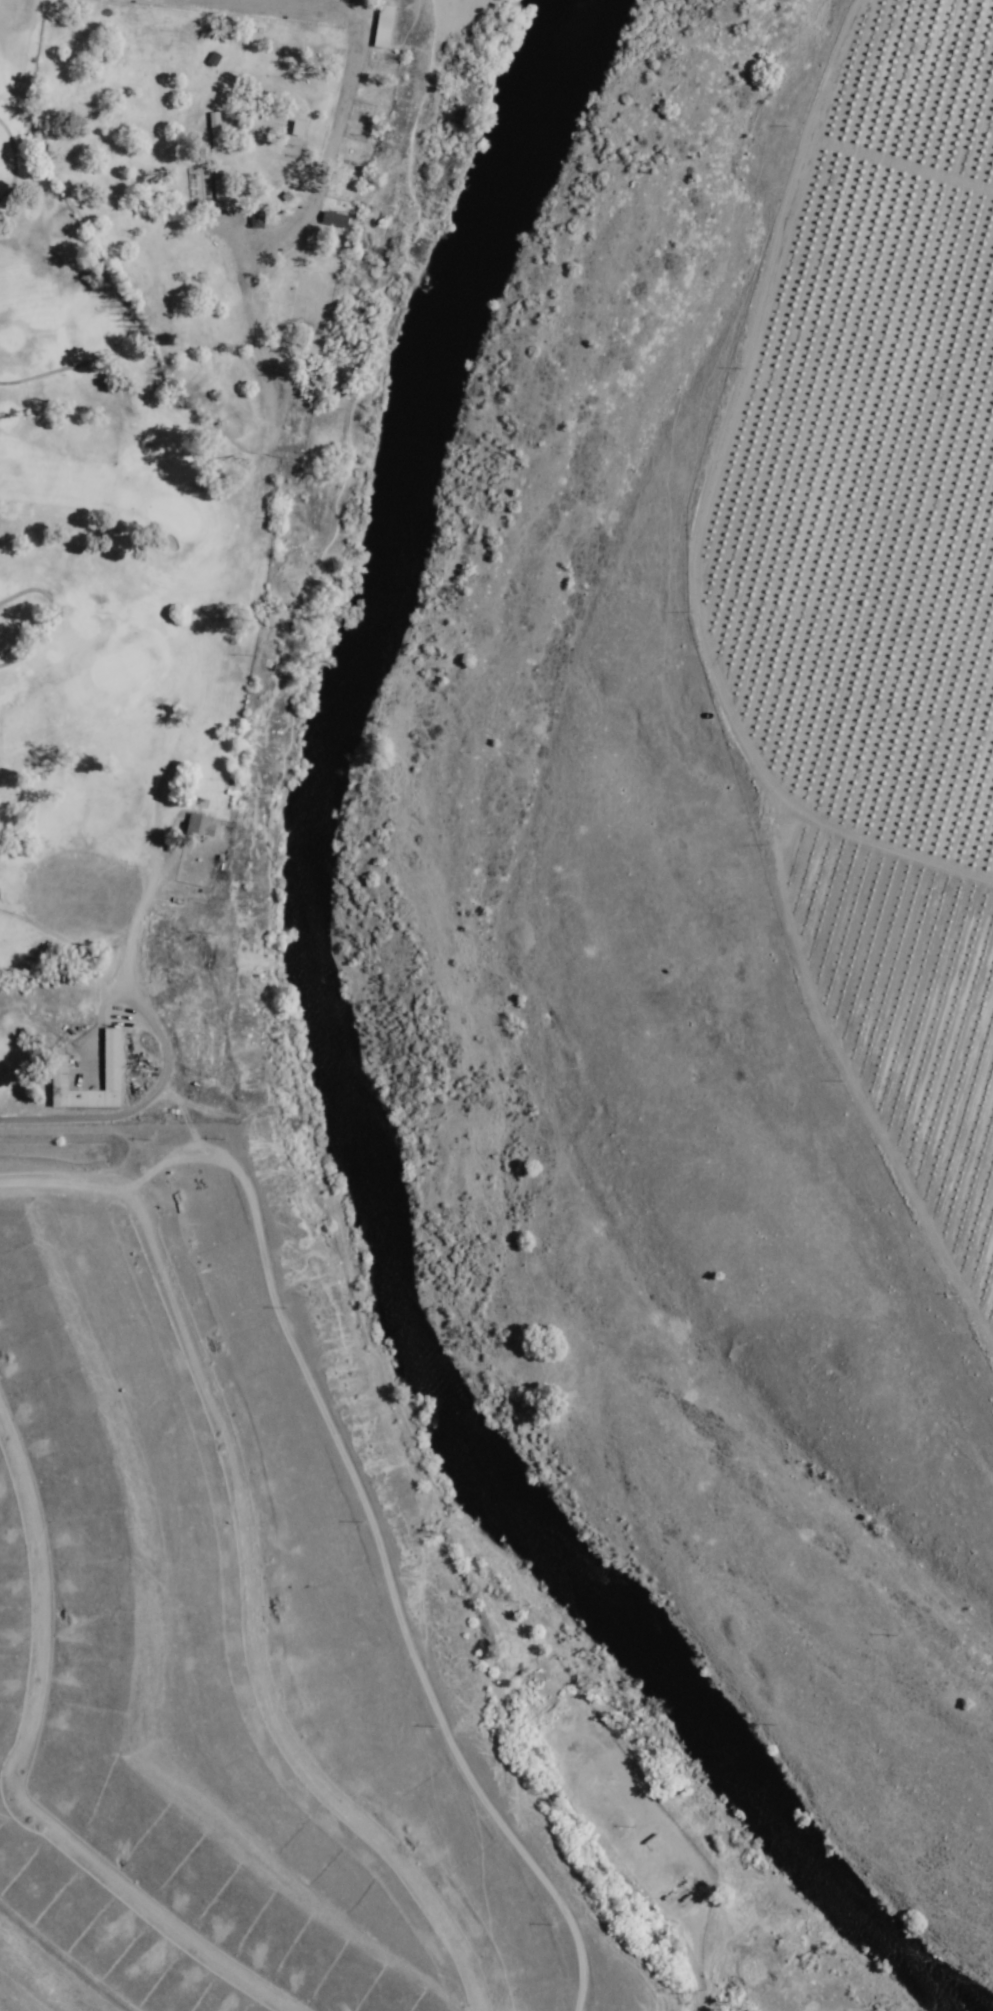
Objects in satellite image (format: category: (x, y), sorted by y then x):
road: (330, 3)
building: (381, 27)
building: (296, 128)
building: (213, 133)
building: (332, 220)
park: (254, 506)
park: (224, 520)
park: (224, 520)
road: (698, 520)
crop: (886, 620)
building: (197, 826)
building: (110, 1073)
river: (337, 1075)

